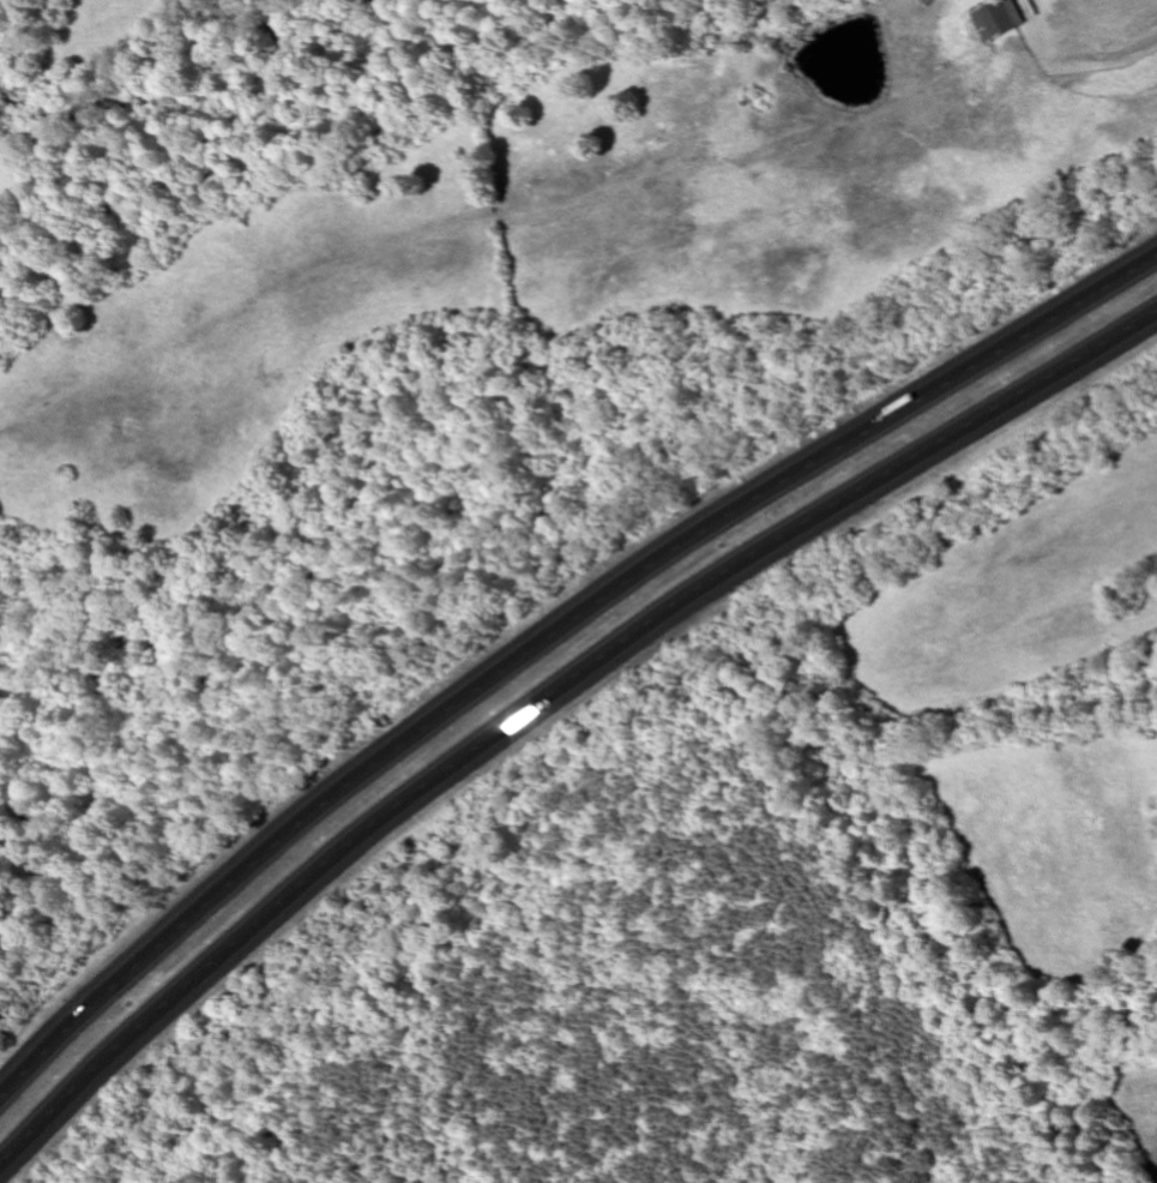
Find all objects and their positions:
building: (998, 20)
road: (16, 95)
road: (550, 636)
road: (548, 695)

